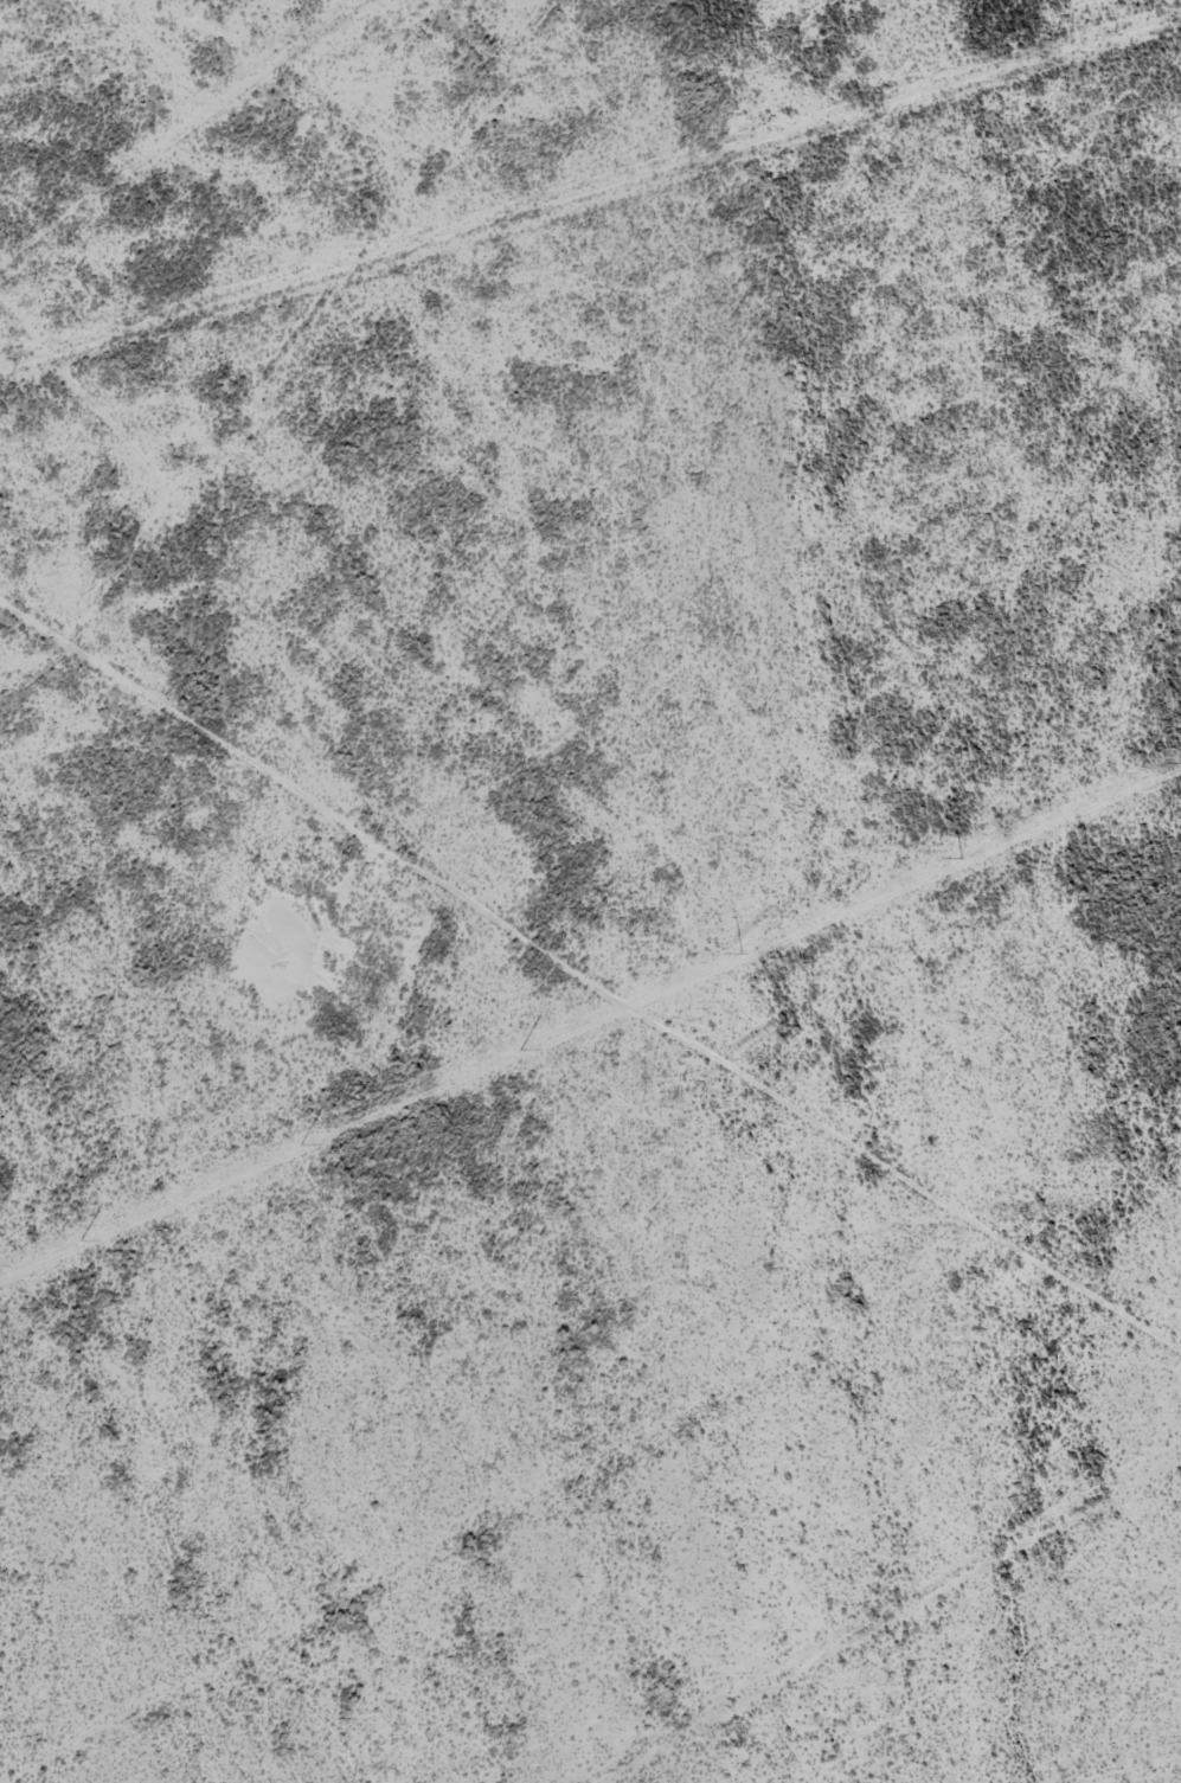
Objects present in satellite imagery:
power tower: (1180, 763)
power tower: (961, 859)
power tower: (740, 955)
road: (596, 1018)
power tower: (518, 1051)
power tower: (302, 1146)
power tower: (81, 1240)

